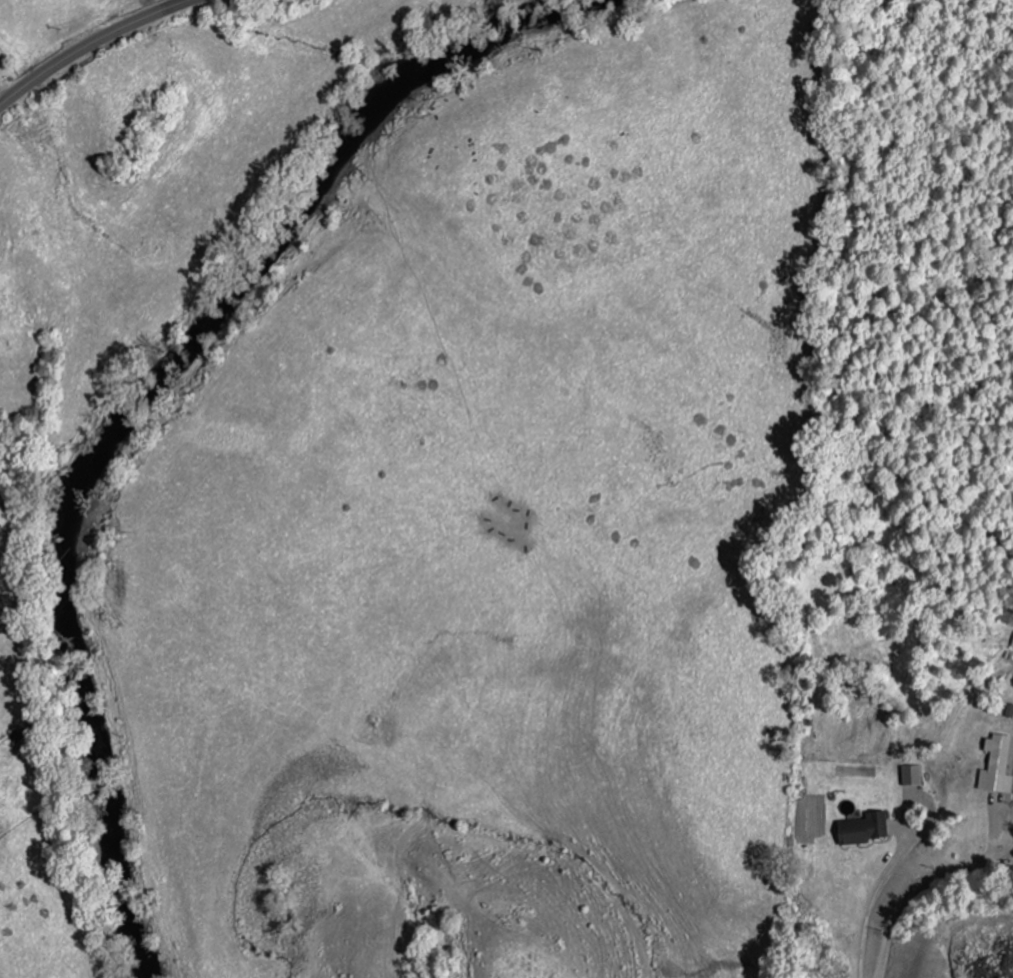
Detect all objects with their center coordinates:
road: (91, 45)
building: (1012, 648)
building: (997, 767)
building: (912, 776)
building: (863, 831)

